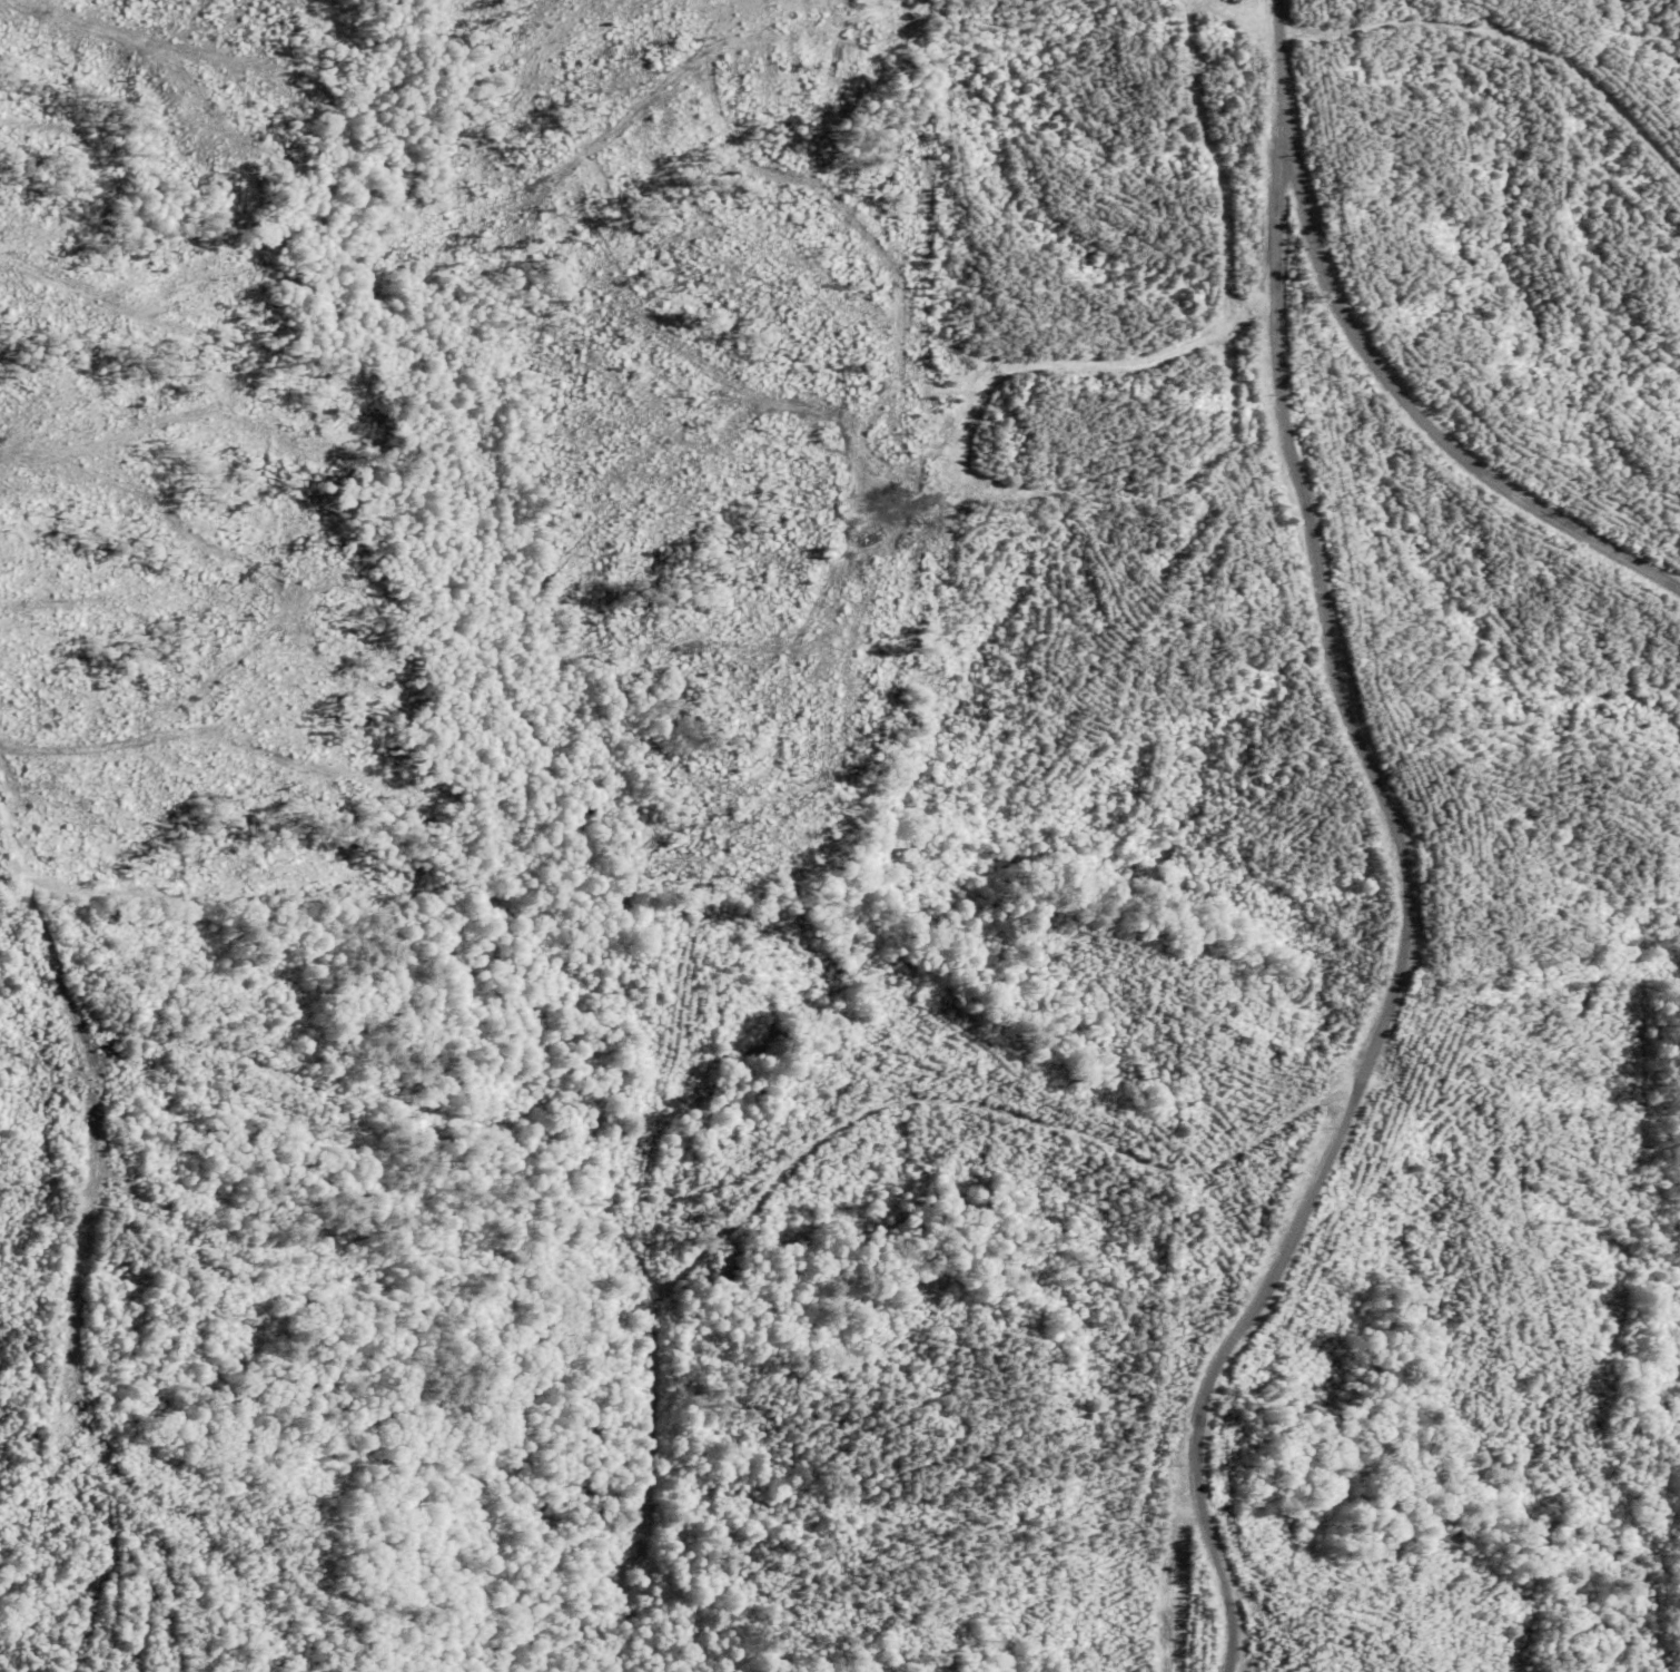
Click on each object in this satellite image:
road: (1269, 142)
road: (1465, 478)
road: (1381, 995)

